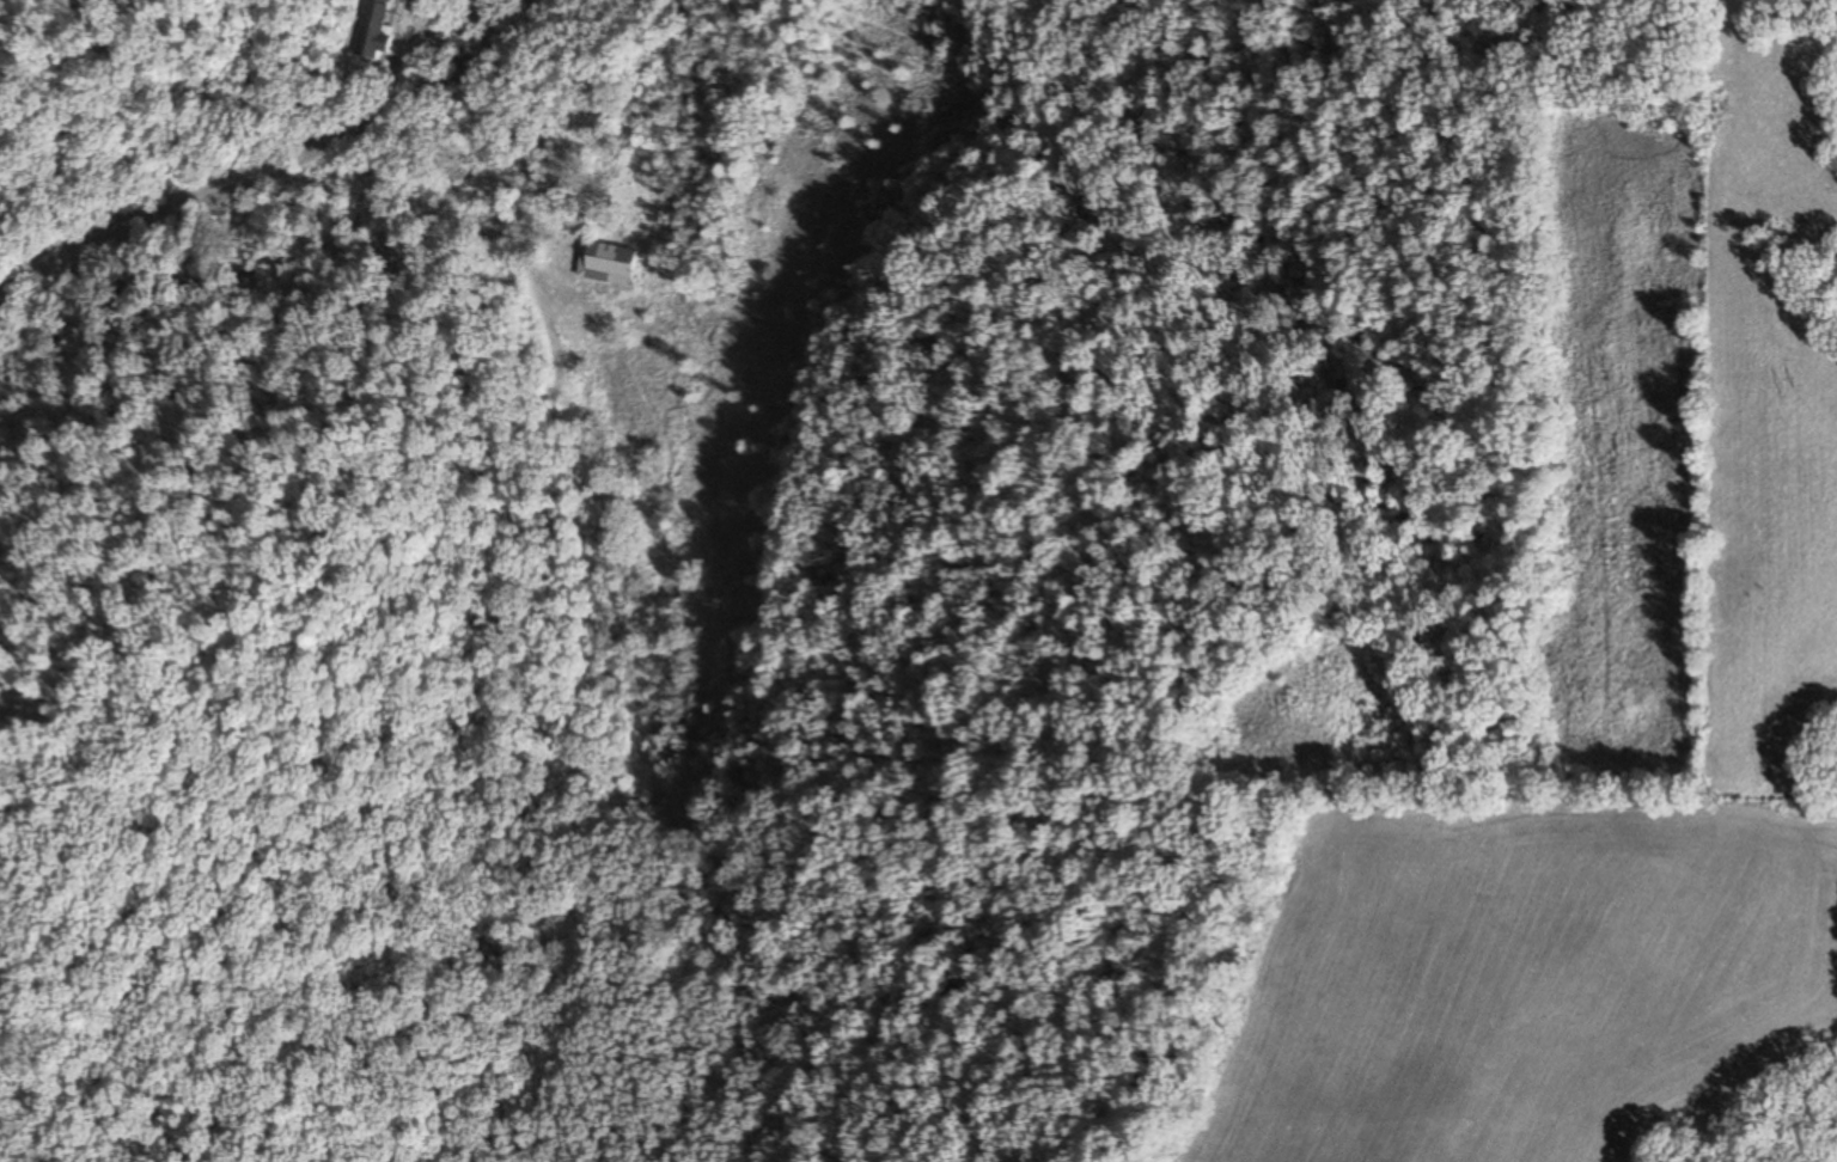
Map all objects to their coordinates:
building: (373, 33)
road: (281, 181)
building: (608, 262)

